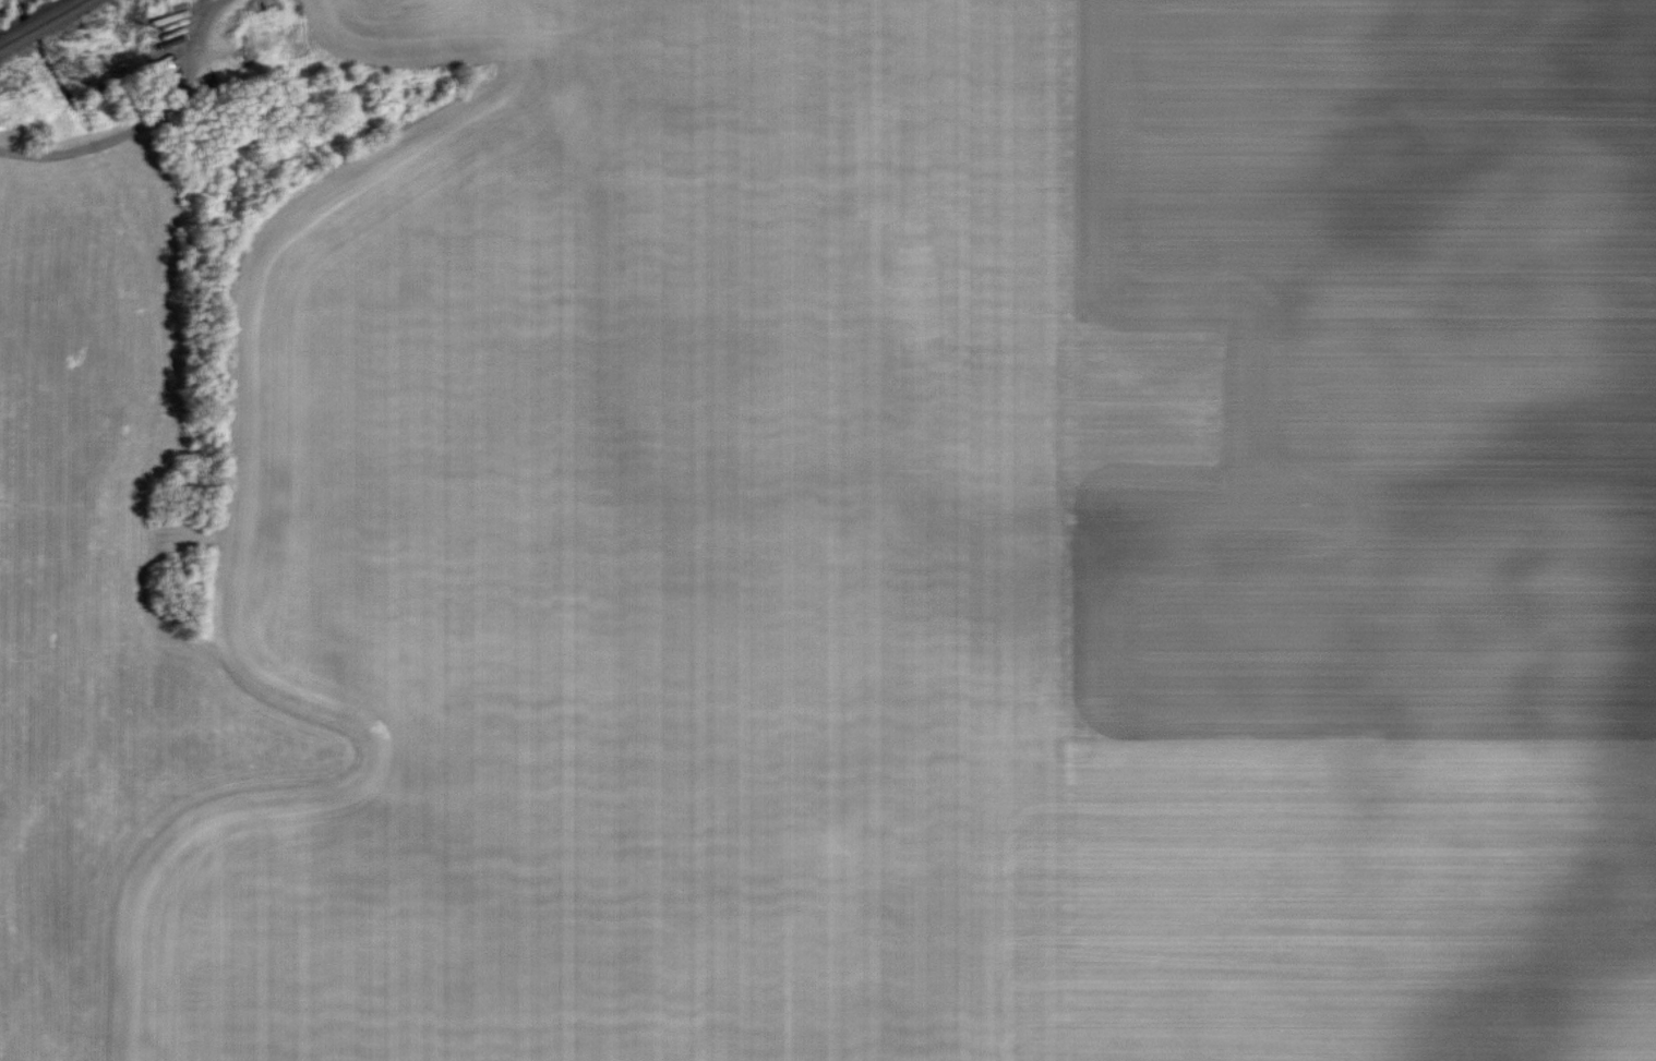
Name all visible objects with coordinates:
railway: (40, 22)
road: (145, 124)

